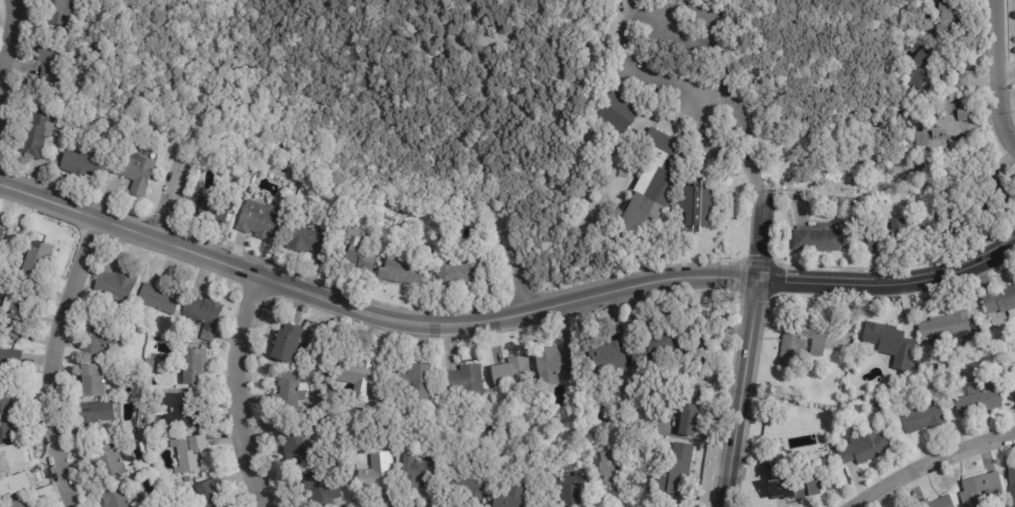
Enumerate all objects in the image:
road: (635, 4)
building: (58, 12)
building: (949, 16)
road: (6, 33)
road: (497, 38)
road: (405, 47)
building: (52, 62)
building: (919, 75)
road: (1007, 76)
road: (998, 77)
building: (959, 82)
park: (480, 87)
building: (74, 90)
building: (617, 113)
building: (944, 127)
building: (38, 133)
building: (81, 163)
building: (135, 174)
building: (656, 182)
building: (997, 184)
road: (169, 196)
building: (699, 207)
building: (983, 207)
building: (285, 209)
building: (211, 211)
building: (257, 220)
building: (933, 226)
building: (1, 232)
road: (760, 236)
building: (887, 239)
building: (306, 240)
building: (819, 242)
building: (355, 253)
building: (36, 260)
road: (511, 262)
building: (400, 272)
building: (456, 272)
road: (890, 285)
building: (114, 288)
building: (158, 299)
building: (1000, 302)
road: (371, 311)
building: (14, 314)
building: (202, 315)
building: (948, 330)
building: (102, 340)
building: (286, 342)
building: (883, 343)
building: (800, 346)
building: (654, 347)
building: (926, 347)
building: (607, 355)
road: (52, 361)
building: (552, 364)
building: (9, 368)
building: (191, 368)
building: (511, 372)
building: (1013, 372)
building: (950, 373)
building: (355, 376)
building: (877, 378)
building: (92, 380)
building: (462, 382)
building: (412, 386)
building: (1012, 390)
building: (290, 392)
road: (743, 392)
road: (234, 393)
building: (978, 402)
building: (97, 412)
building: (182, 412)
building: (688, 412)
building: (5, 417)
building: (924, 418)
building: (588, 428)
building: (296, 443)
building: (388, 447)
building: (864, 449)
building: (188, 453)
building: (107, 463)
road: (930, 463)
building: (675, 470)
building: (614, 471)
building: (376, 472)
building: (418, 473)
building: (12, 474)
building: (787, 483)
building: (1012, 484)
building: (318, 488)
building: (467, 488)
building: (570, 488)
building: (979, 489)
building: (210, 493)
building: (508, 495)
building: (114, 498)
building: (936, 502)
building: (17, 503)

